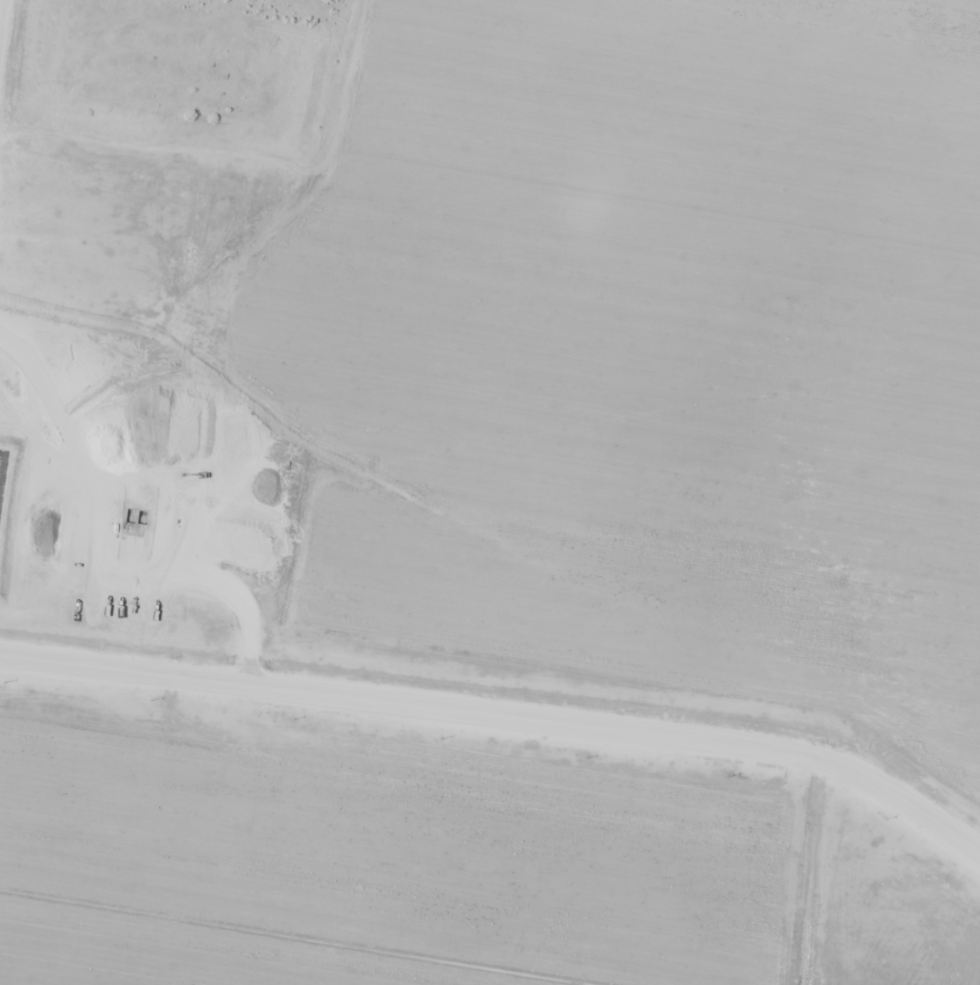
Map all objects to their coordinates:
landfill: (490, 492)
road: (502, 715)

